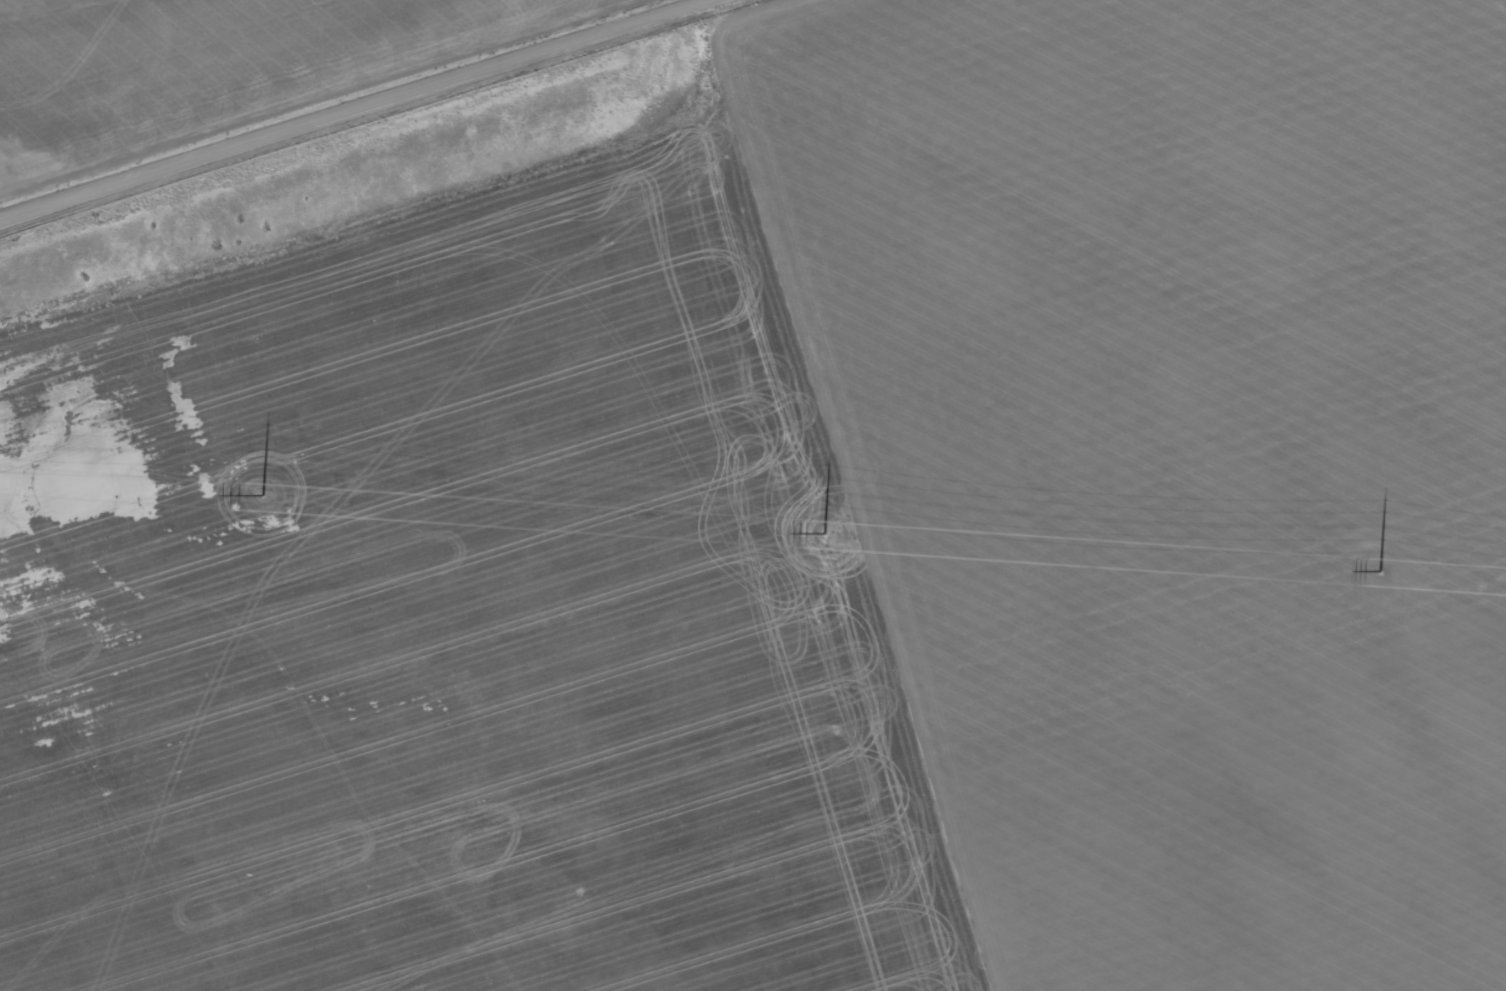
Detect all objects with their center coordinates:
road: (356, 108)
power tower: (265, 493)
power tower: (826, 533)
power tower: (1381, 570)

